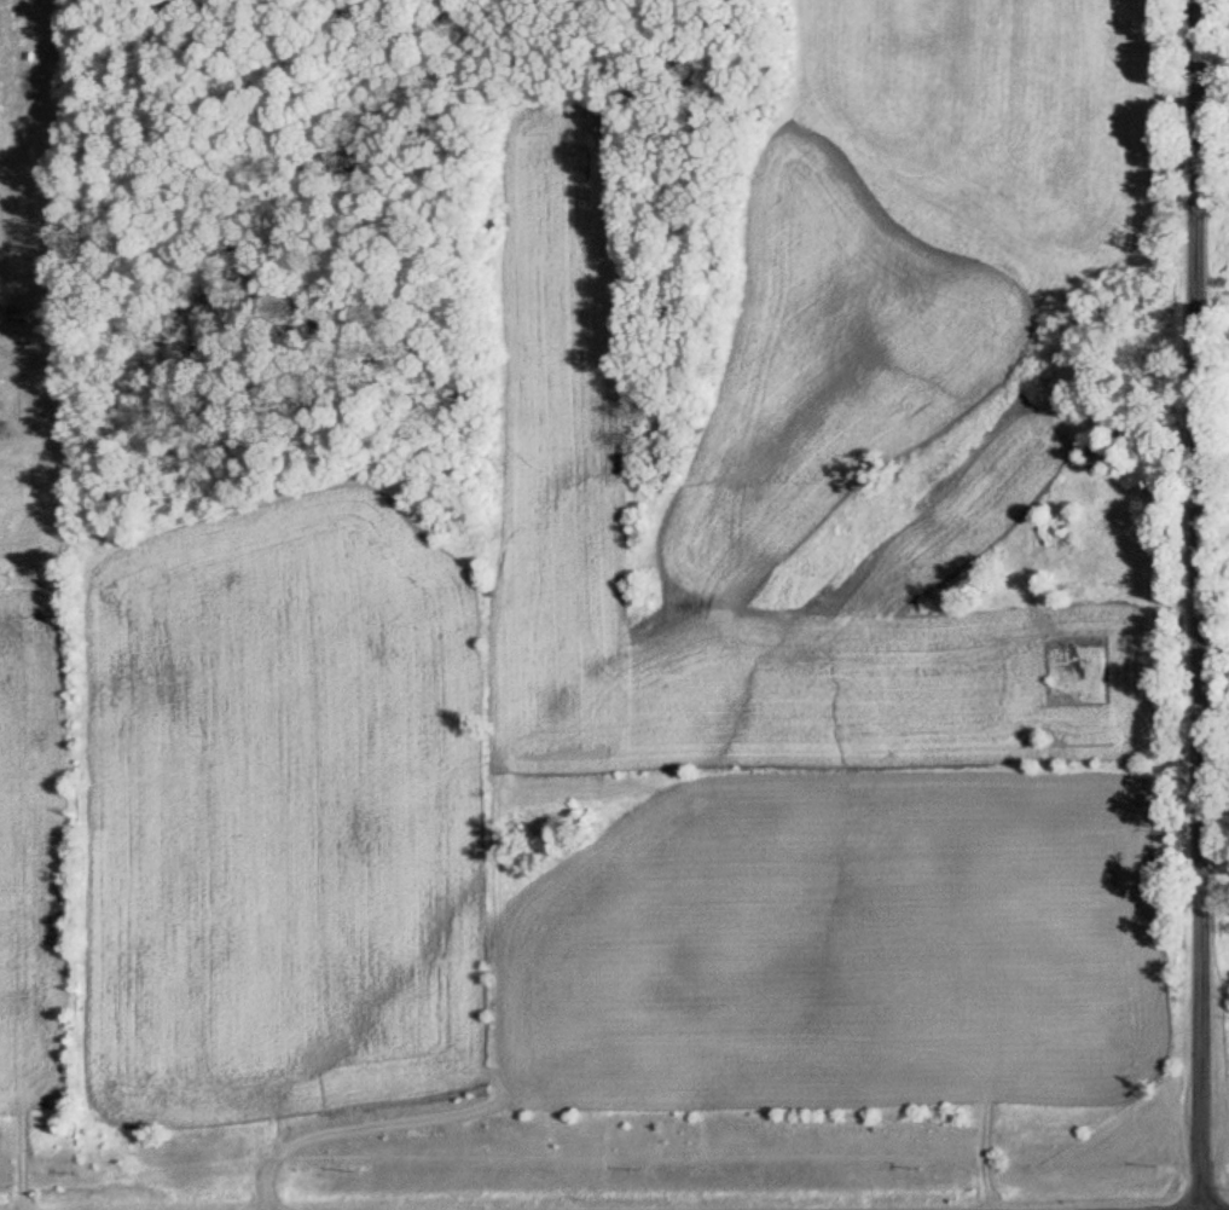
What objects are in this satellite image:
road: (1192, 604)

